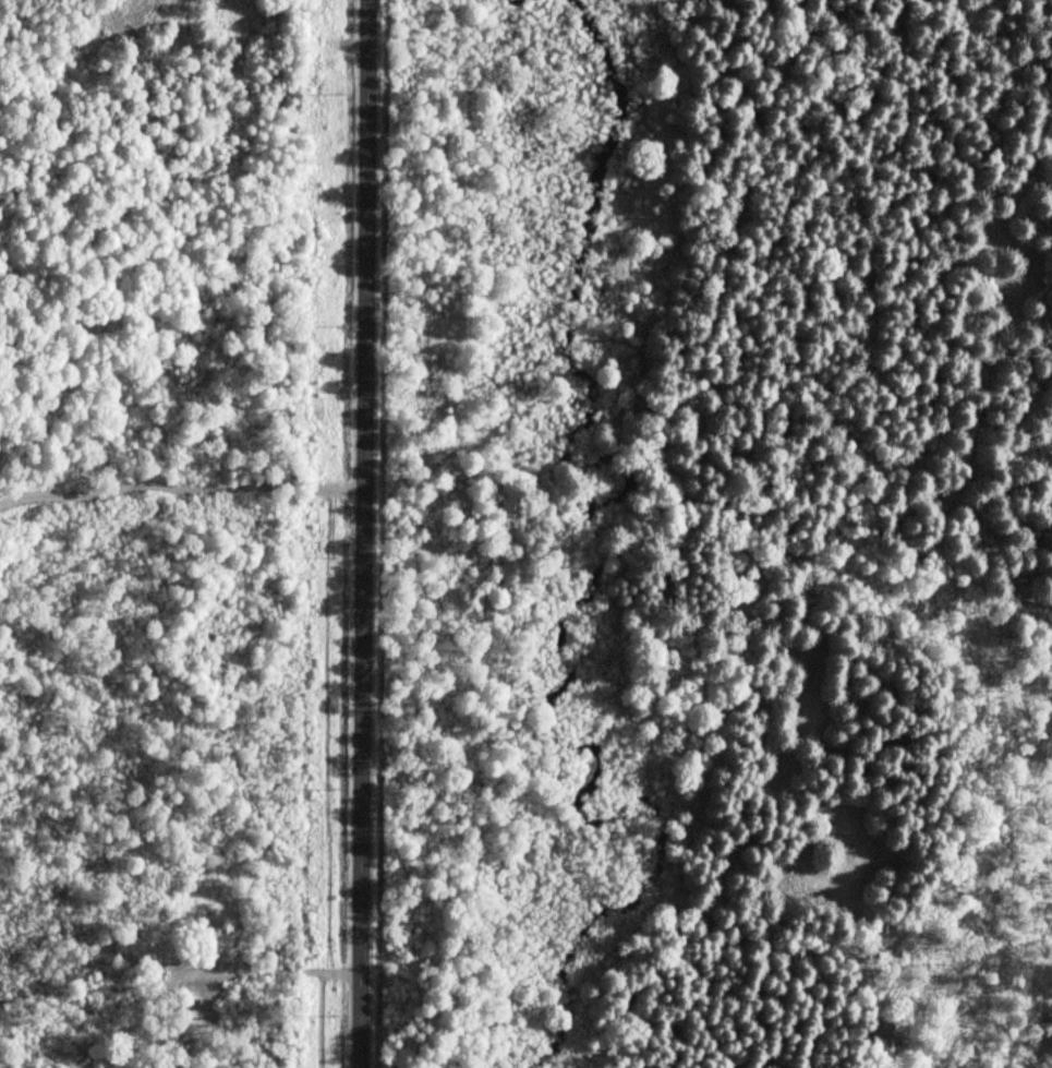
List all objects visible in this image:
road: (368, 533)
road: (264, 1023)

